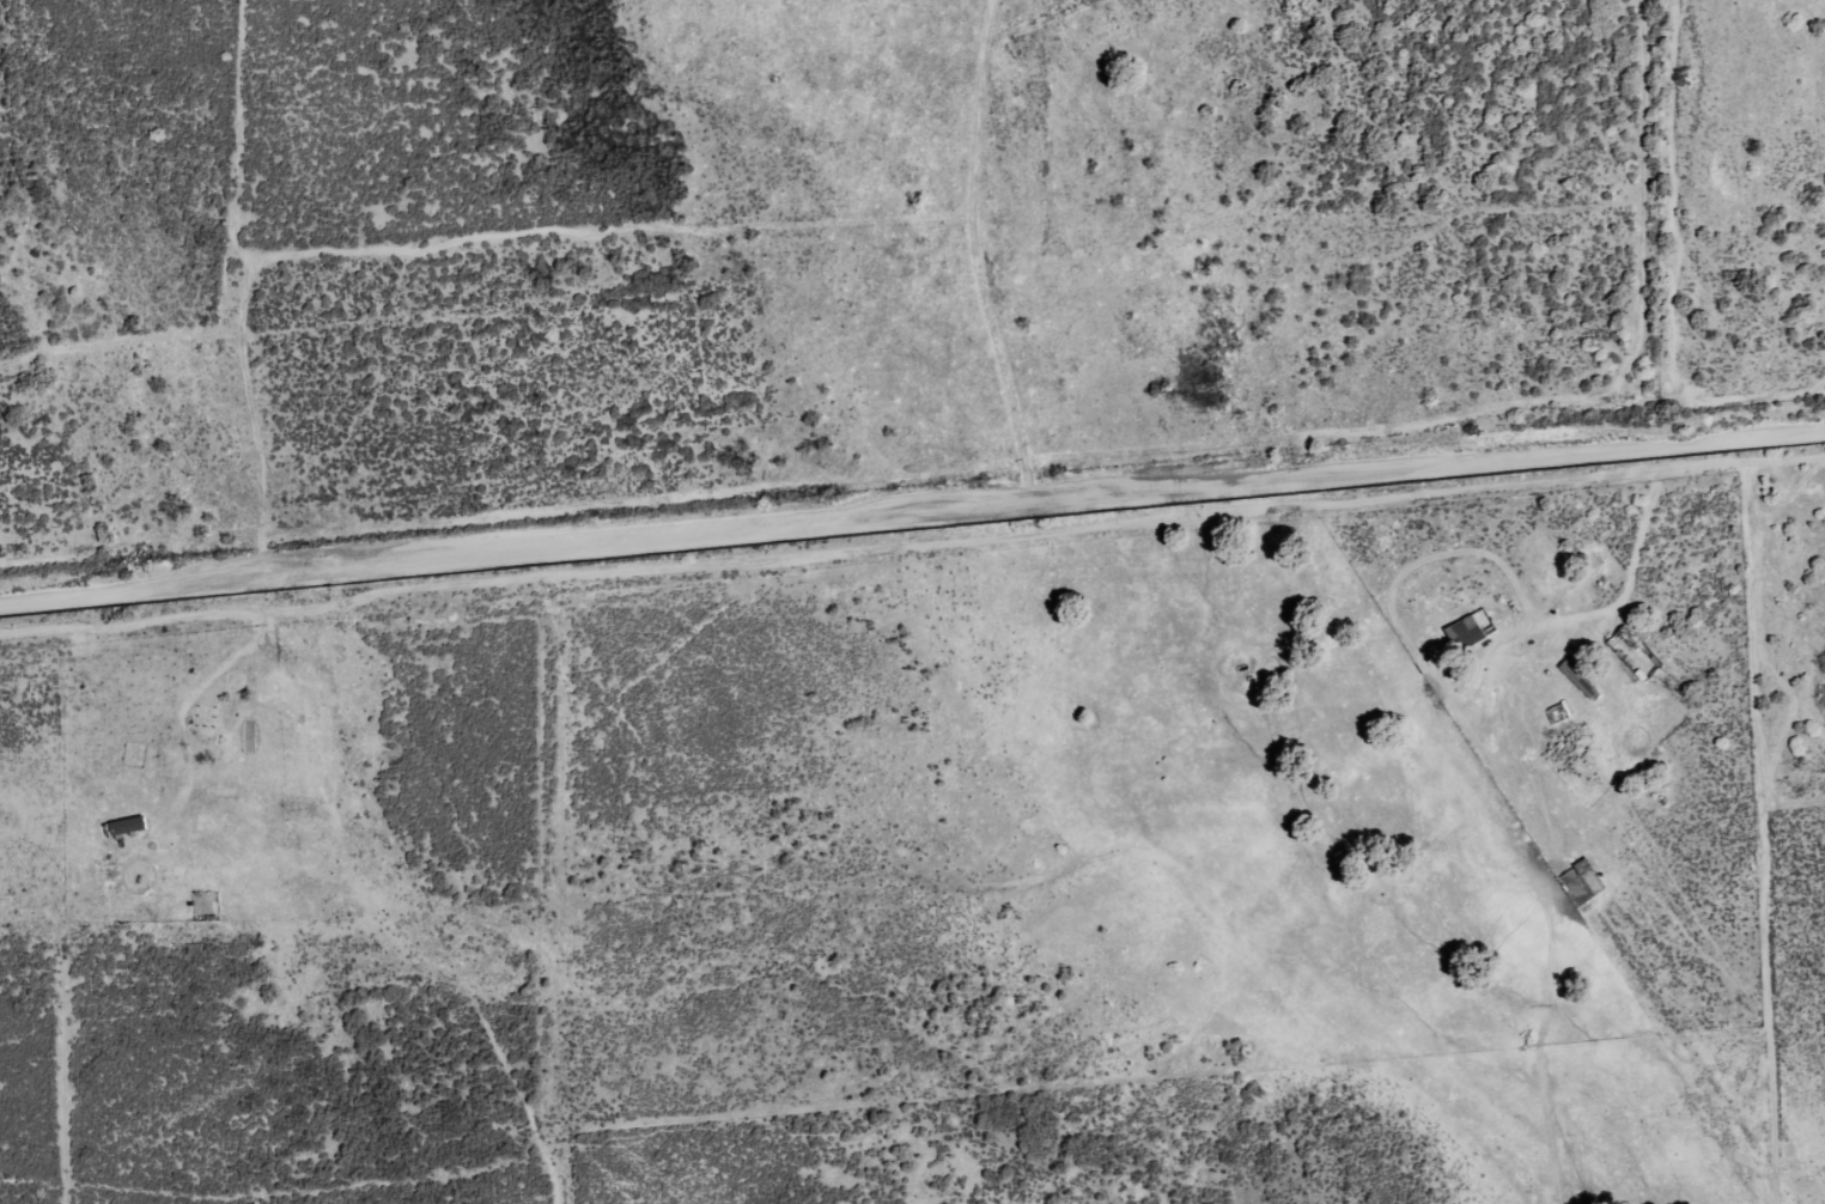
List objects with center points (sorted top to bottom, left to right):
road: (912, 505)
road: (912, 548)
building: (126, 826)
road: (1760, 833)

